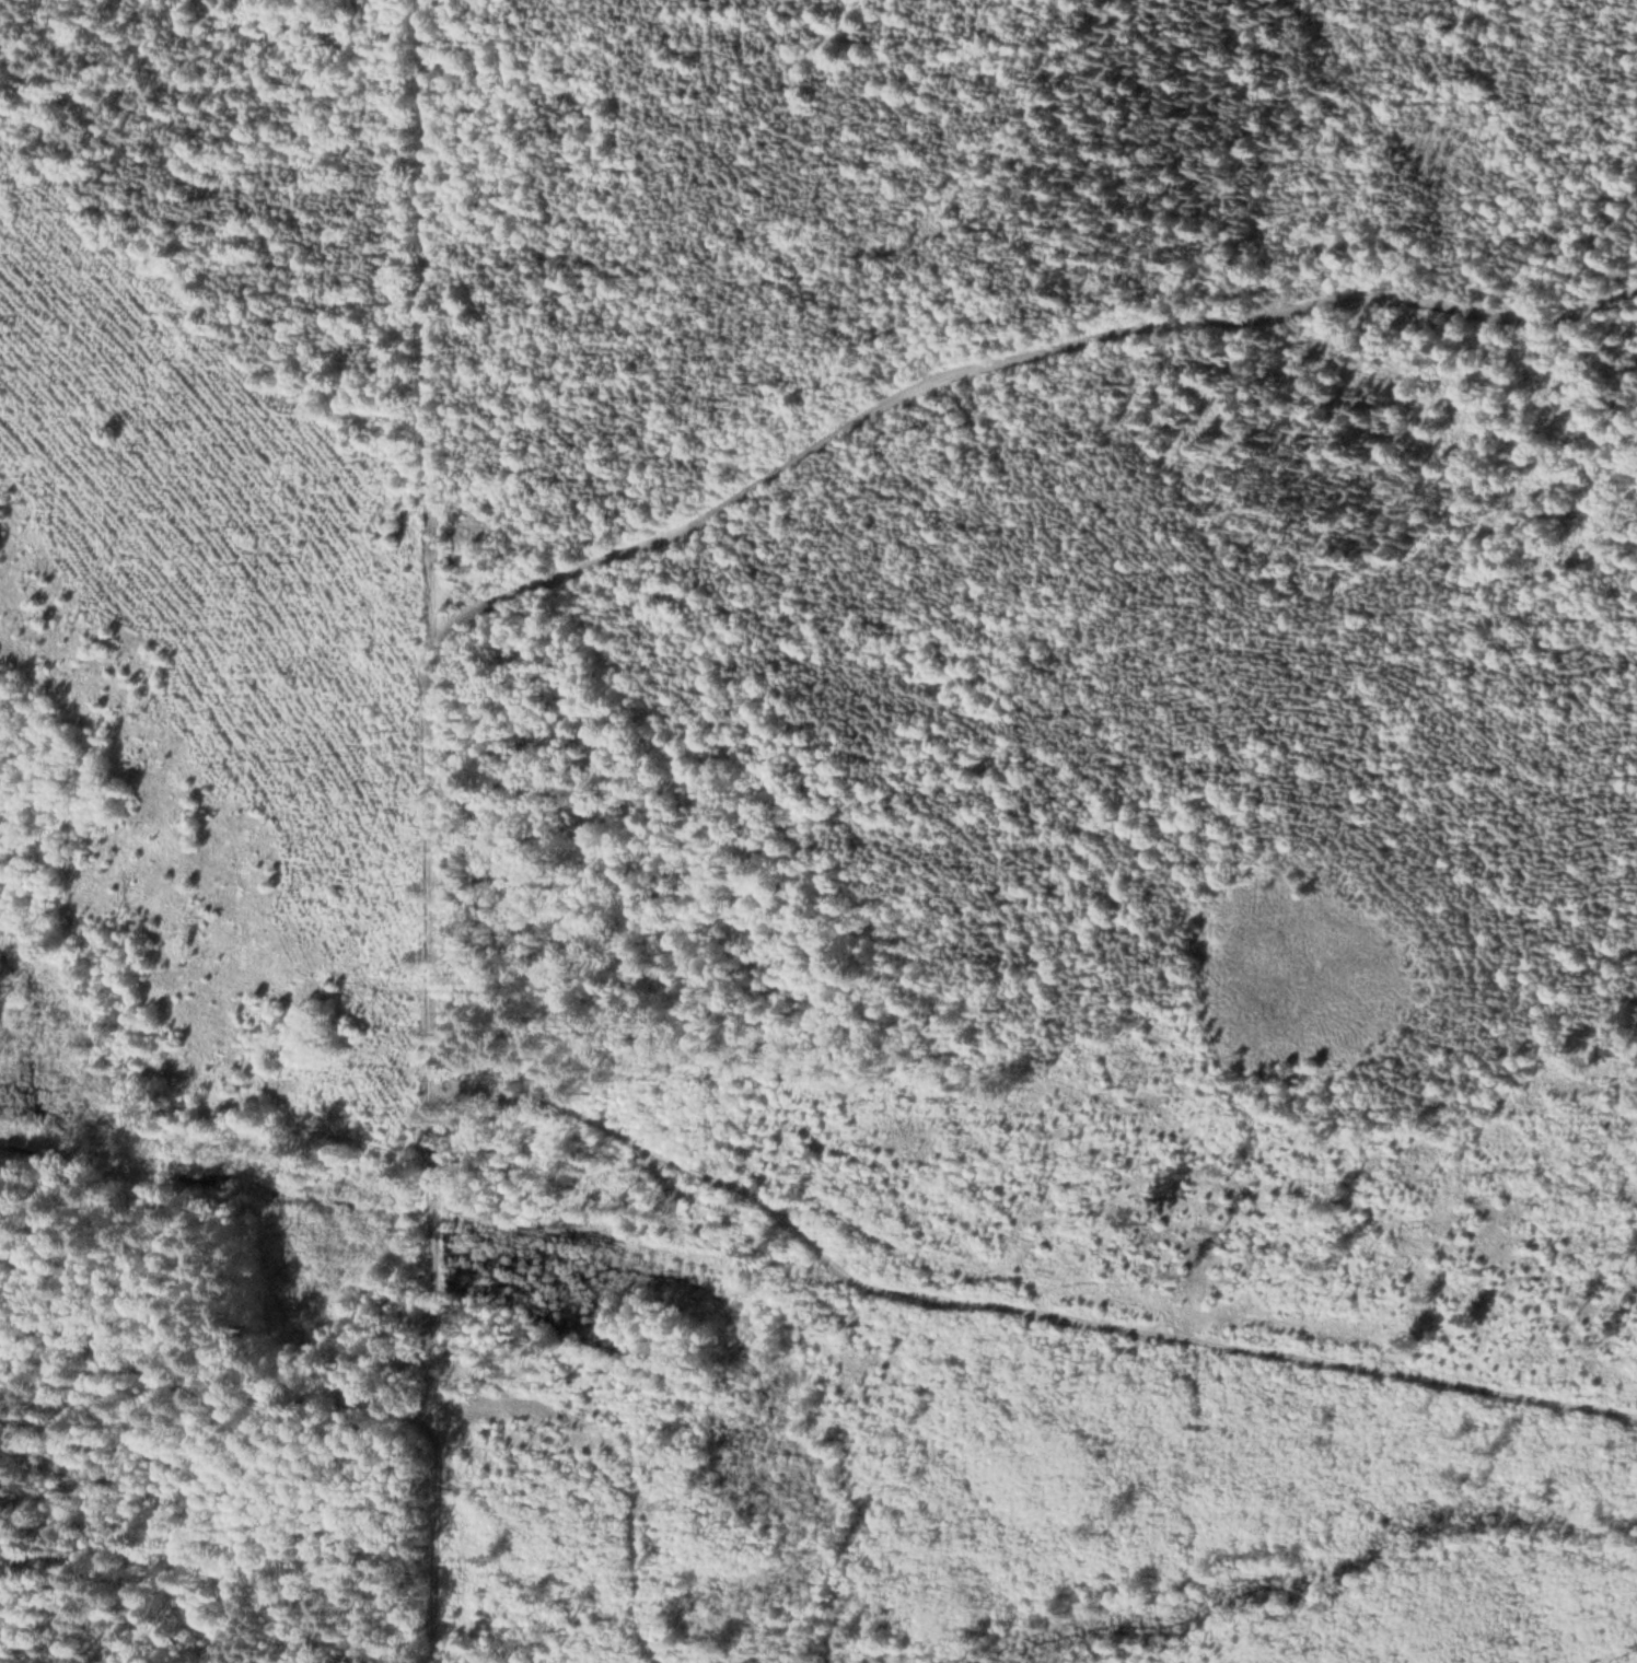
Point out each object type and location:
road: (1018, 367)
road: (445, 832)
road: (1017, 1305)
road: (229, 1458)

